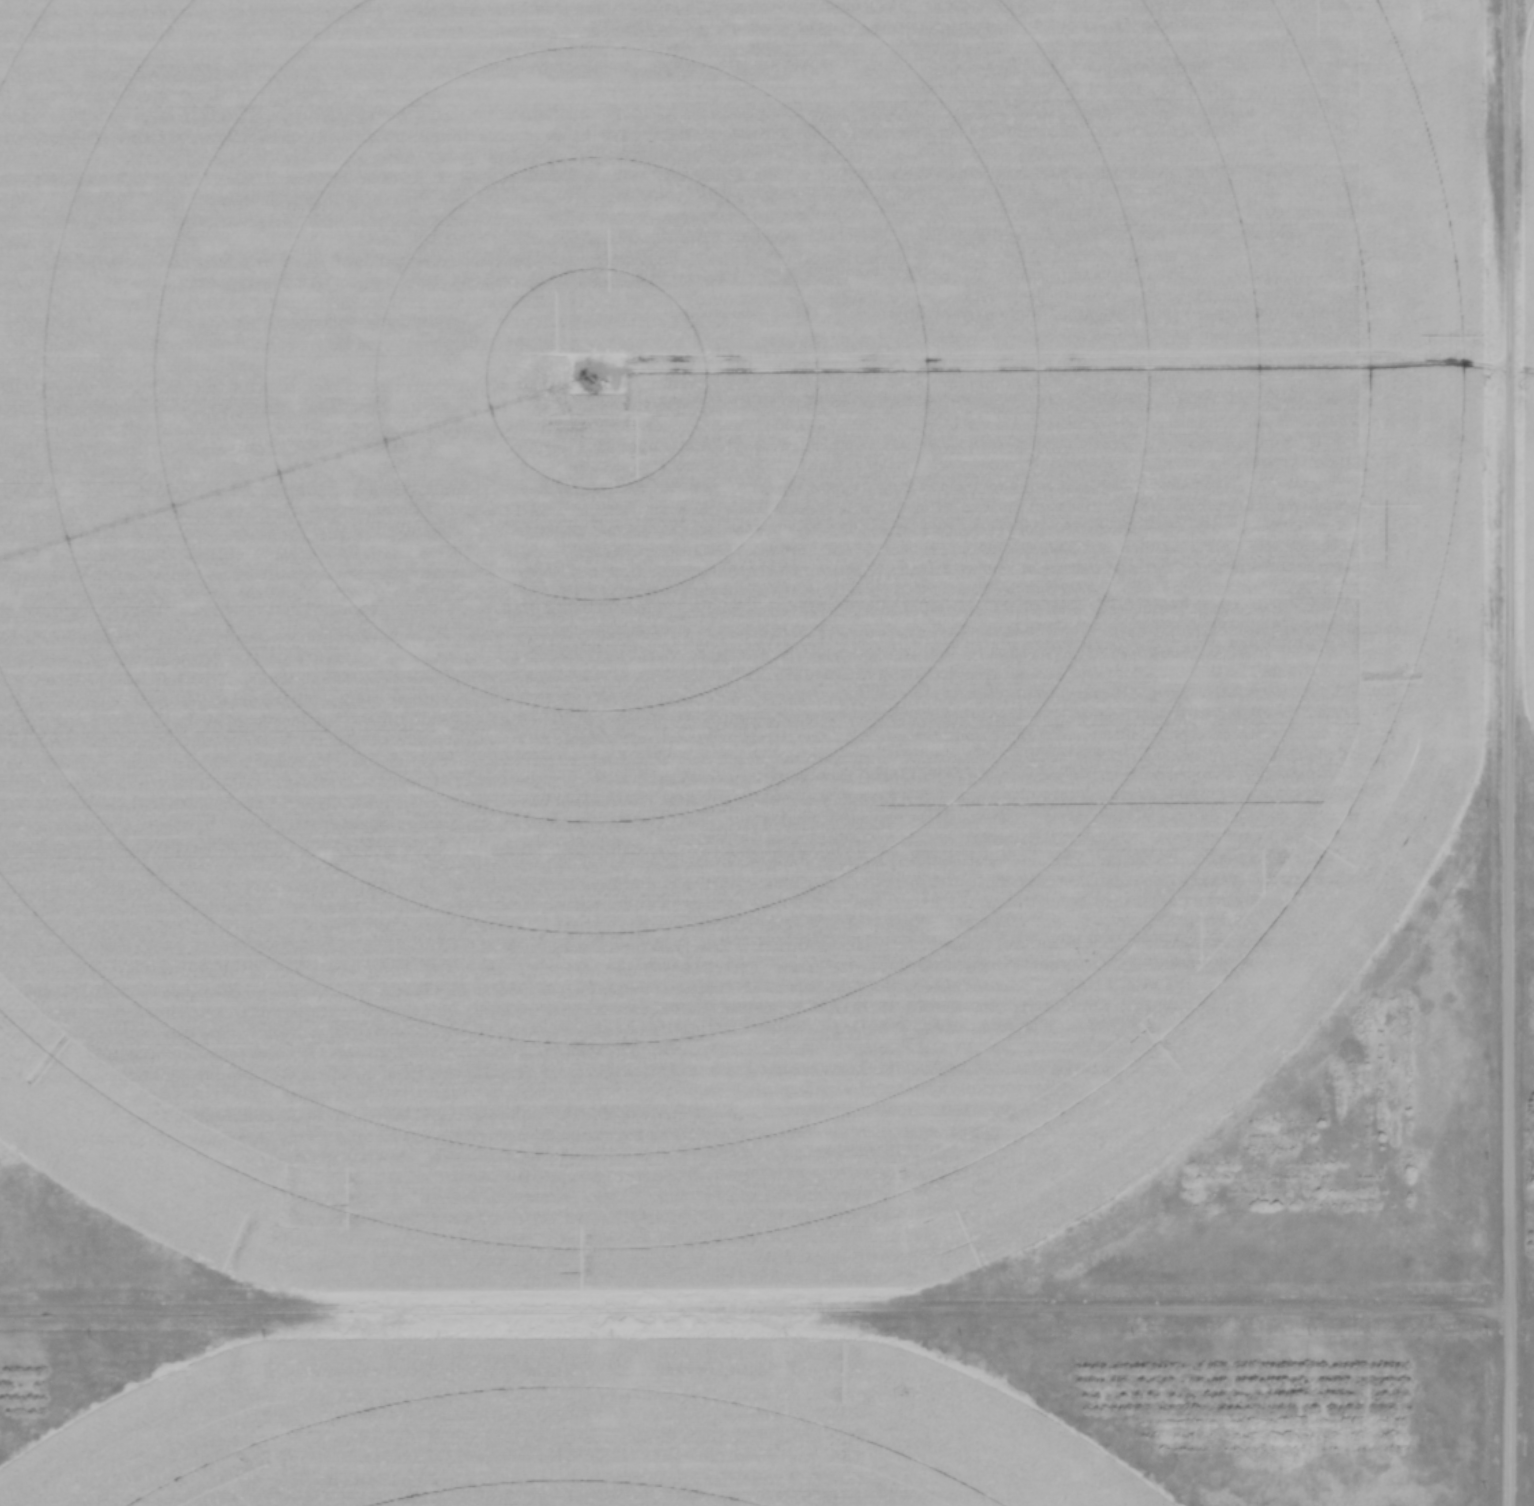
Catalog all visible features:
road: (1501, 752)
road: (1522, 1315)
road: (755, 1318)

